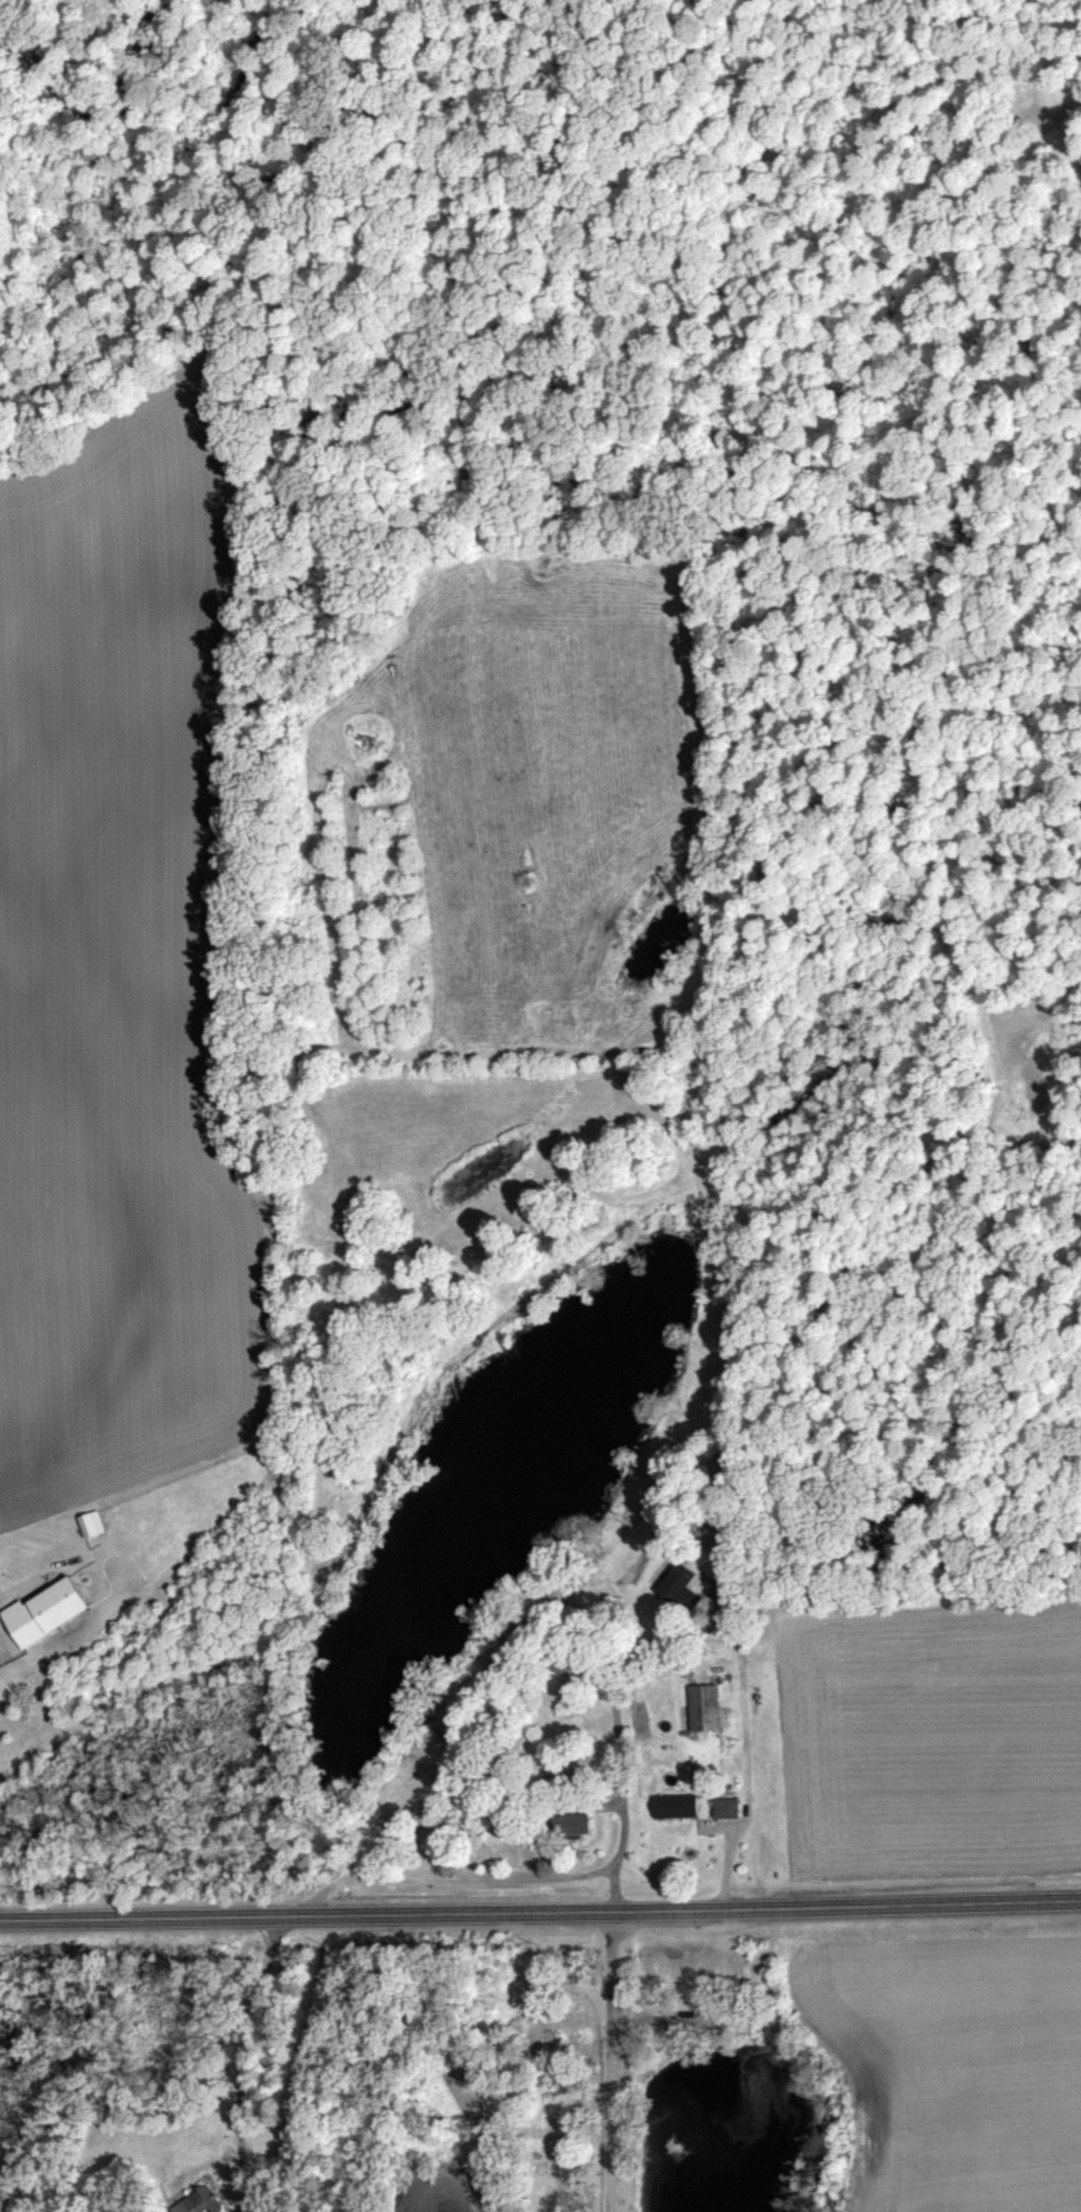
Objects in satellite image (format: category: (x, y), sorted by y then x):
building: (675, 1585)
building: (703, 1709)
road: (620, 1755)
building: (723, 1808)
building: (566, 1825)
building: (685, 1846)
road: (540, 1916)
building: (646, 1967)
building: (736, 1972)
building: (706, 1977)
building: (677, 1982)
building: (570, 1984)
building: (562, 2015)
building: (572, 2043)
road: (248, 2060)
road: (609, 2063)
building: (581, 2070)
building: (555, 2072)
building: (584, 2164)
building: (551, 2166)
building: (197, 2201)

